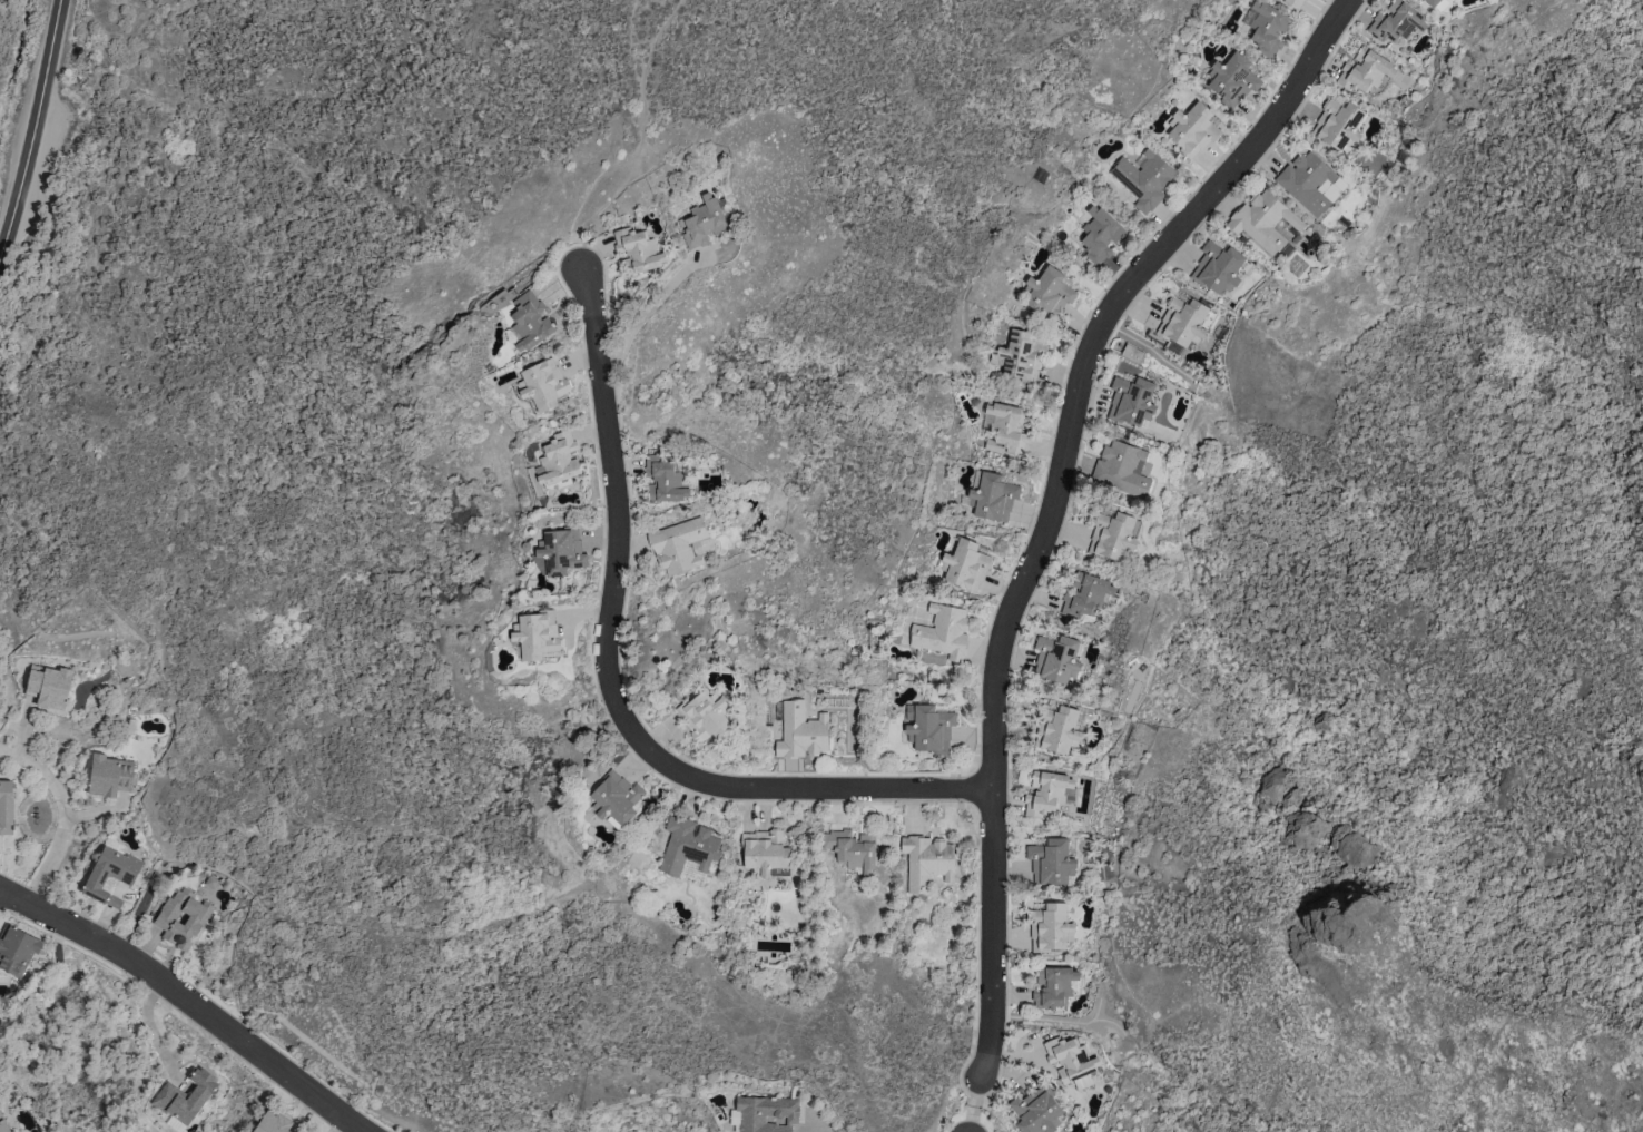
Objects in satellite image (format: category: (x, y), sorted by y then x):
building: (1452, 0)
building: (1432, 2)
building: (1295, 3)
building: (1396, 22)
building: (1266, 27)
road: (632, 49)
building: (1365, 70)
building: (1232, 79)
building: (1339, 124)
road: (33, 128)
building: (1193, 129)
road: (641, 144)
building: (1144, 179)
building: (1307, 181)
building: (704, 222)
building: (1266, 223)
building: (1100, 235)
building: (638, 250)
building: (1218, 267)
building: (1049, 293)
road: (641, 317)
building: (529, 322)
building: (1184, 322)
building: (1021, 356)
building: (544, 384)
building: (1132, 401)
building: (1006, 427)
building: (559, 462)
building: (1122, 469)
building: (663, 479)
building: (992, 494)
road: (1056, 499)
building: (1112, 535)
building: (678, 544)
building: (559, 551)
building: (966, 564)
building: (1086, 594)
building: (944, 632)
building: (538, 634)
building: (1057, 658)
building: (48, 687)
road: (613, 695)
building: (705, 716)
building: (931, 729)
building: (1057, 729)
building: (801, 731)
building: (109, 776)
building: (1272, 782)
building: (1046, 793)
building: (617, 797)
road: (61, 805)
building: (6, 807)
building: (1303, 828)
building: (689, 846)
building: (853, 848)
building: (1352, 849)
building: (766, 850)
building: (927, 862)
building: (1051, 862)
building: (110, 875)
building: (167, 918)
building: (1050, 926)
building: (17, 949)
building: (1054, 986)
road: (185, 1001)
building: (1072, 1061)
building: (185, 1099)
road: (974, 1105)
building: (1037, 1110)
building: (764, 1114)
building: (273, 1122)
building: (3, 1125)
road: (814, 1130)

